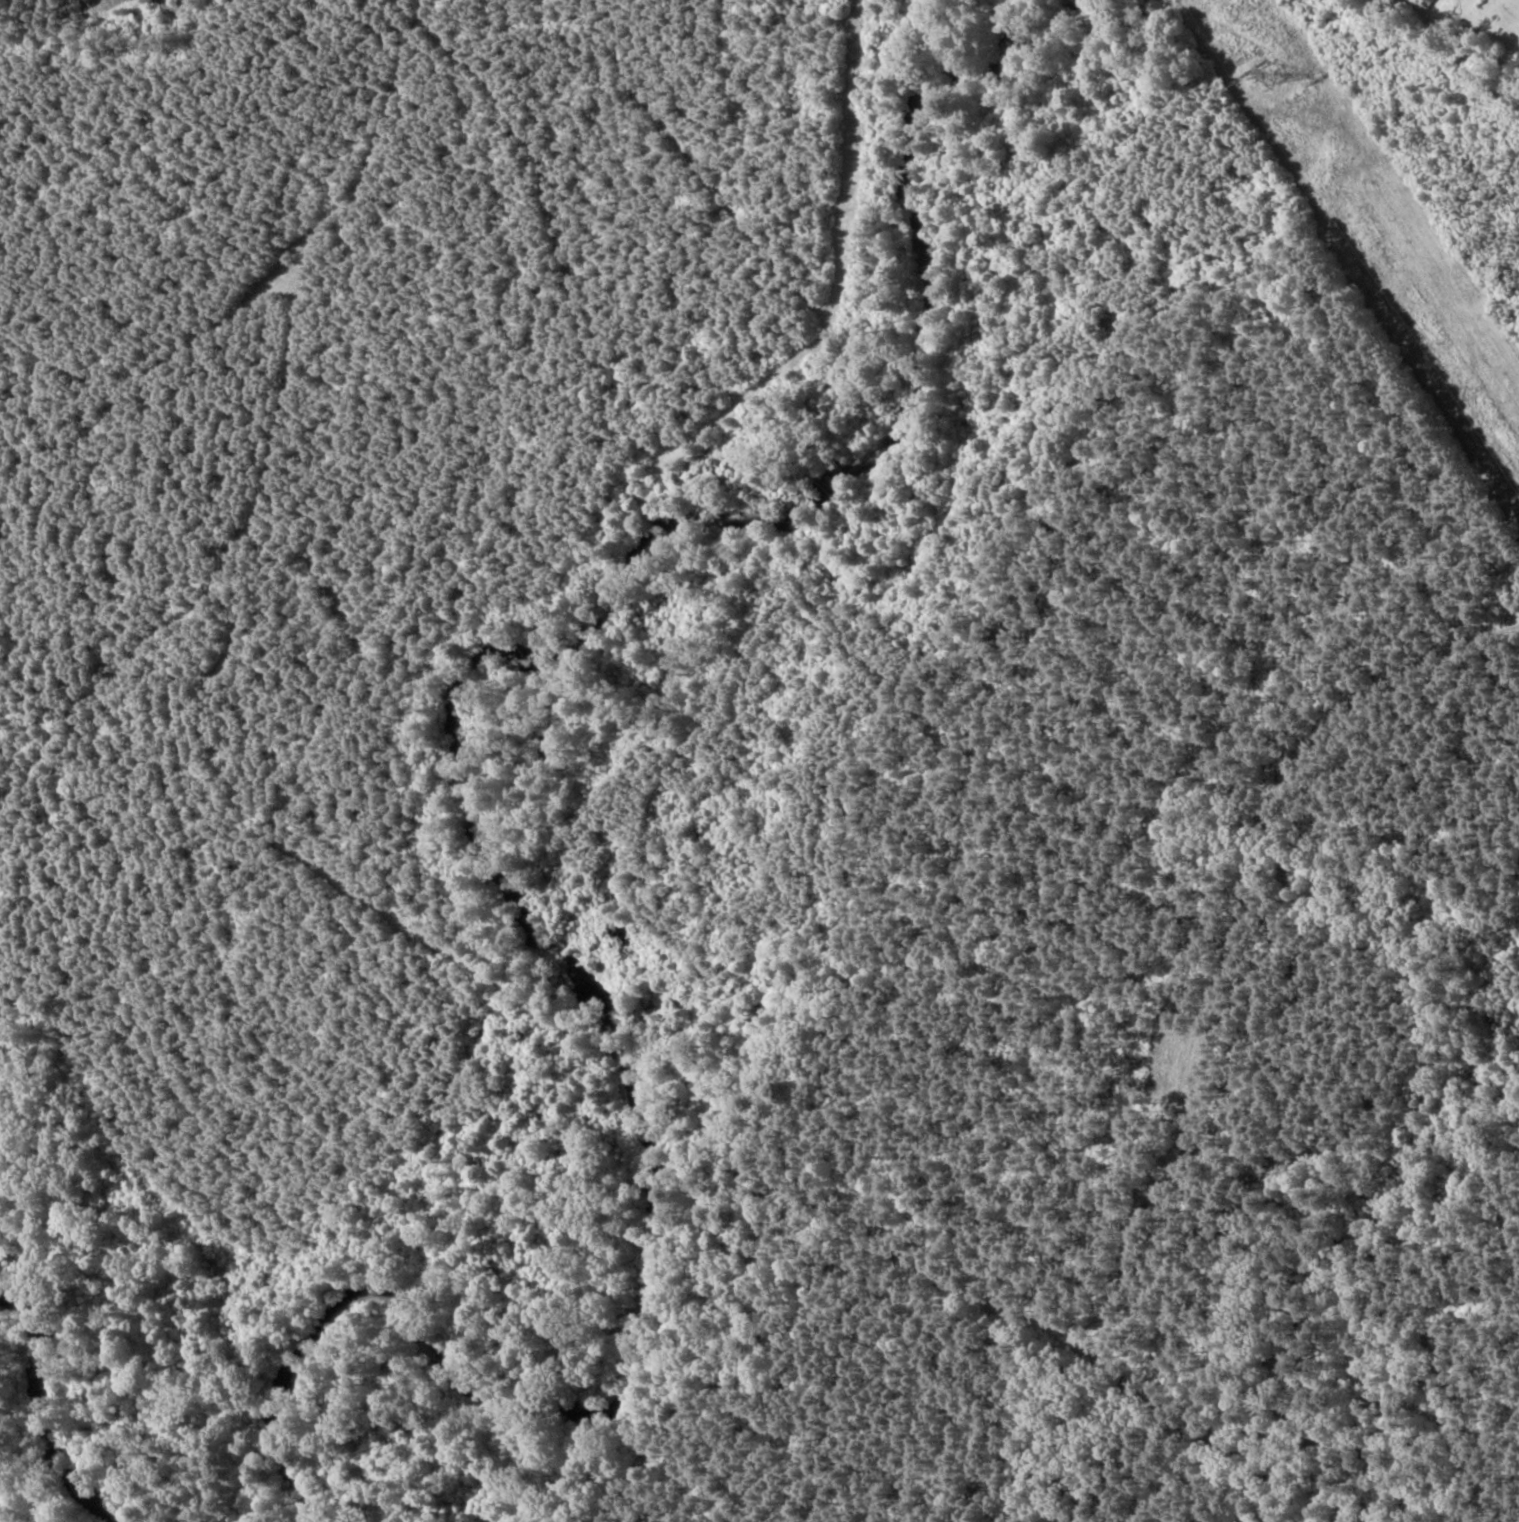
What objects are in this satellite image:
power tower: (1269, 76)

